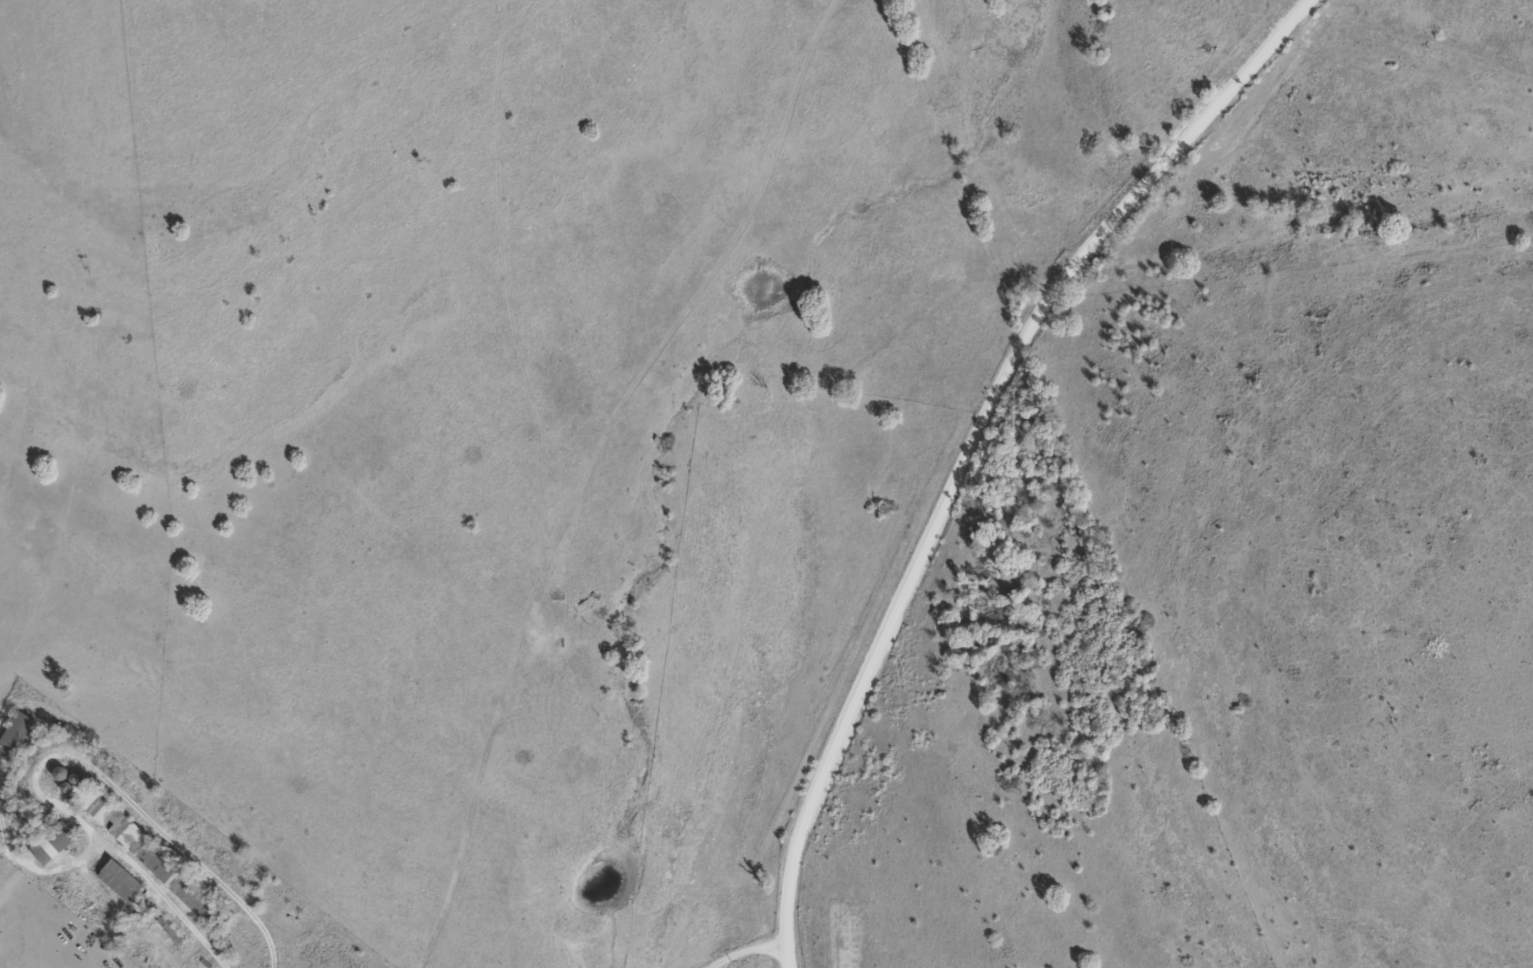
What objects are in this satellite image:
road: (964, 444)
building: (14, 736)
building: (54, 773)
building: (76, 791)
building: (48, 843)
building: (154, 863)
building: (115, 881)
road: (173, 882)
road: (747, 955)

